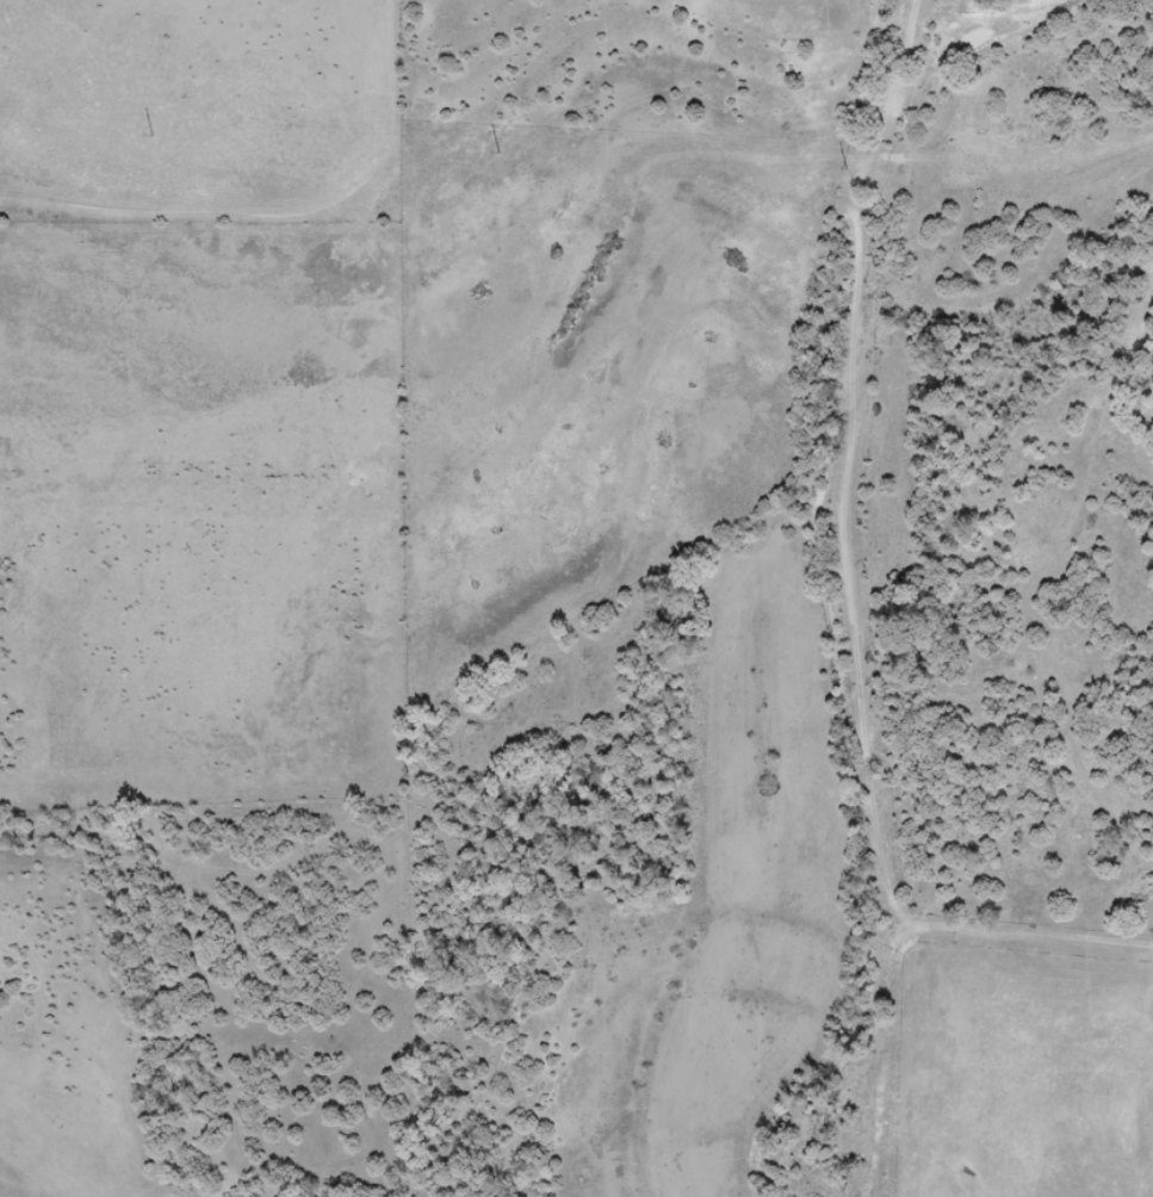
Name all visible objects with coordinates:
power tower: (154, 137)
power tower: (502, 154)
power tower: (848, 170)
road: (855, 215)
road: (876, 805)

